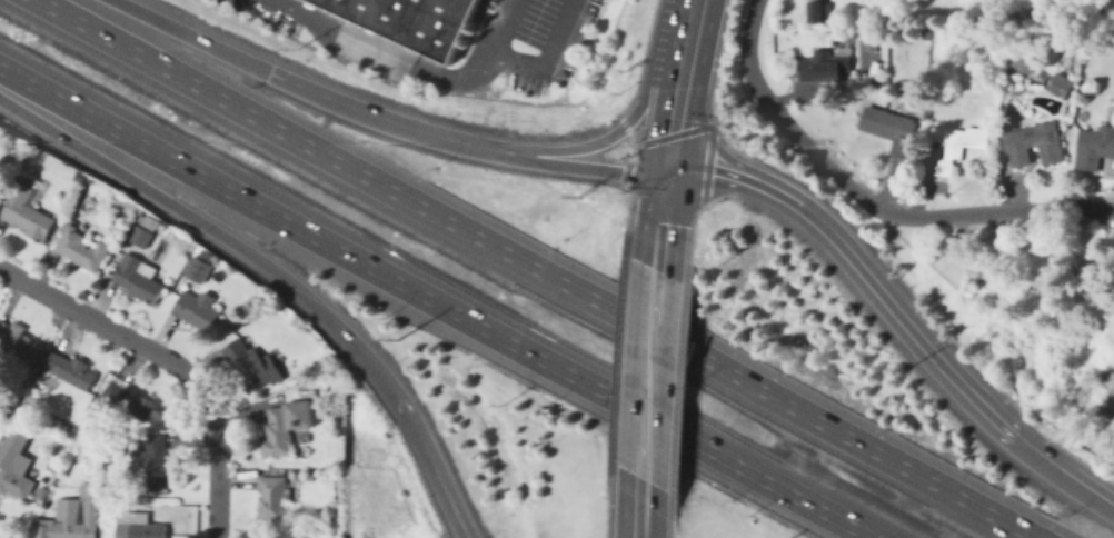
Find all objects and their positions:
building: (820, 11)
building: (412, 20)
parking lot: (555, 24)
road: (690, 24)
road: (192, 36)
building: (1019, 59)
road: (547, 60)
road: (641, 60)
road: (717, 62)
road: (410, 63)
building: (825, 67)
traffic signals: (273, 74)
building: (1038, 74)
building: (1058, 82)
building: (818, 98)
road: (675, 108)
building: (992, 109)
road: (381, 117)
road: (624, 123)
road: (710, 127)
building: (891, 128)
road: (611, 134)
building: (1032, 141)
building: (955, 143)
road: (637, 147)
building: (1094, 147)
building: (11, 157)
road: (583, 166)
traffic signals: (667, 168)
road: (625, 170)
building: (74, 175)
building: (100, 186)
building: (83, 198)
road: (867, 200)
building: (26, 211)
road: (627, 216)
road: (662, 219)
building: (148, 220)
building: (118, 222)
road: (211, 228)
building: (140, 236)
road: (690, 243)
building: (82, 248)
building: (199, 266)
road: (537, 268)
road: (861, 269)
building: (139, 278)
building: (992, 297)
road: (435, 303)
building: (196, 309)
road: (112, 325)
building: (18, 340)
road: (616, 356)
building: (250, 366)
building: (71, 370)
road: (646, 373)
building: (324, 386)
building: (1090, 387)
road: (679, 389)
building: (126, 397)
building: (286, 426)
building: (158, 461)
building: (14, 462)
road: (434, 465)
building: (52, 466)
road: (213, 469)
road: (1064, 471)
building: (292, 475)
building: (43, 492)
building: (273, 497)
road: (607, 498)
road: (640, 508)
road: (672, 516)
building: (74, 517)
building: (139, 526)
building: (277, 527)
building: (275, 537)

